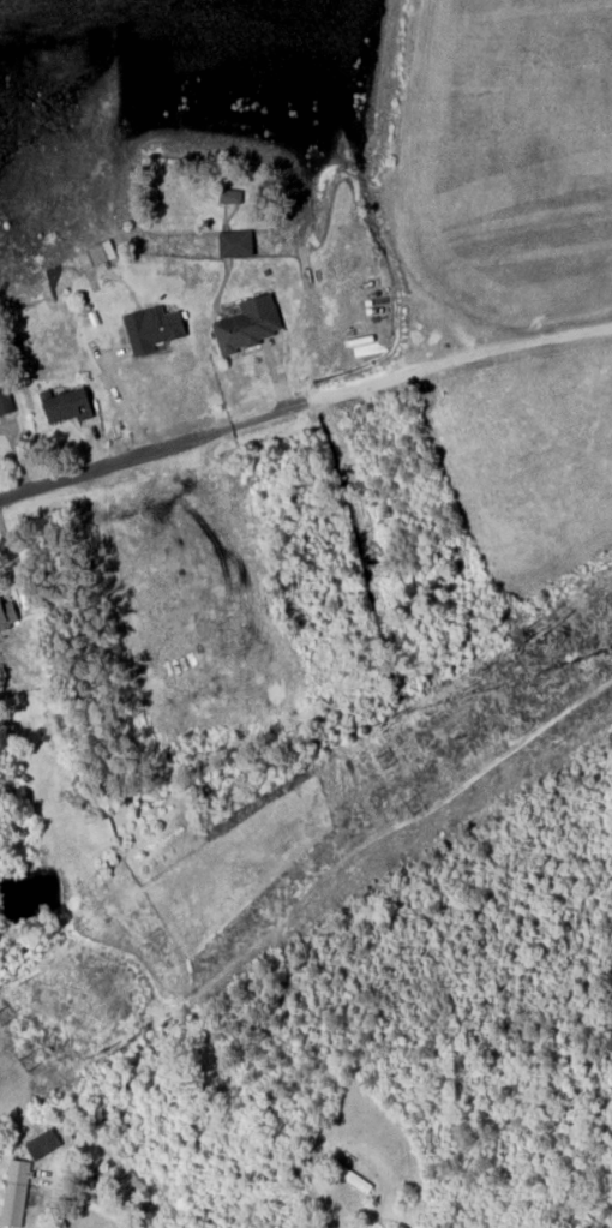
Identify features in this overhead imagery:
building: (229, 194)
building: (234, 242)
building: (100, 251)
building: (246, 323)
building: (151, 327)
building: (4, 395)
road: (302, 401)
building: (6, 613)
power tower: (384, 755)
power tower: (412, 804)
power tower: (26, 1061)
building: (42, 1143)
building: (14, 1191)

